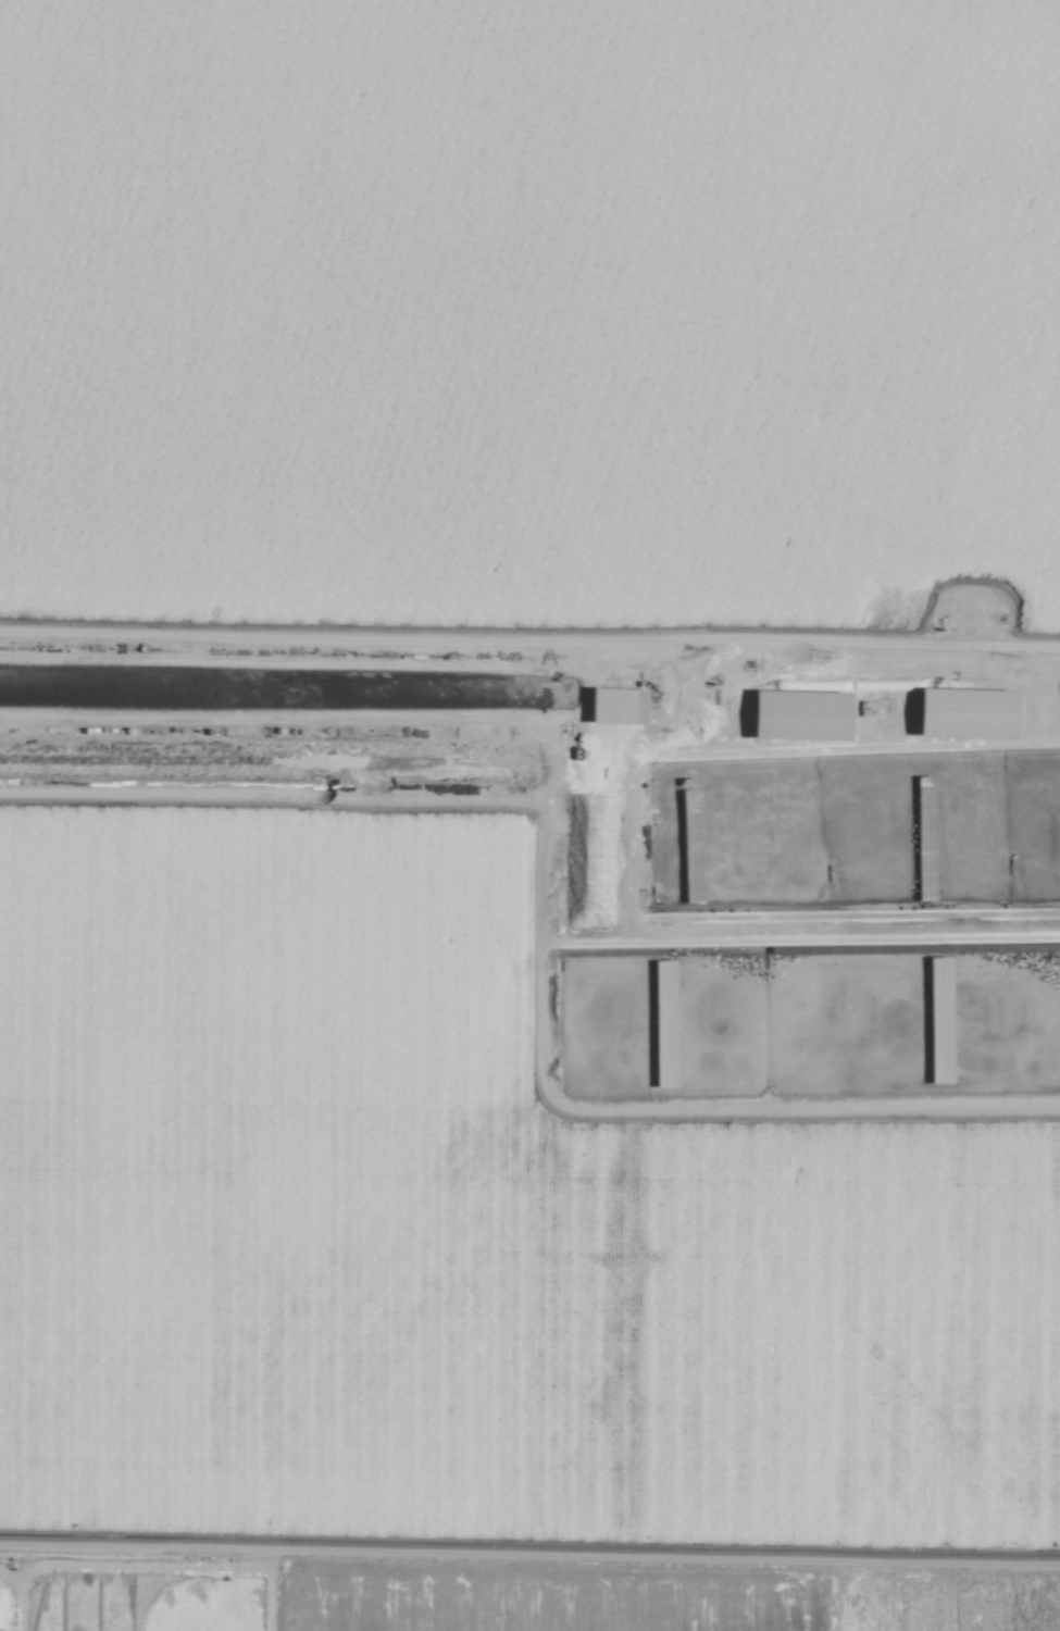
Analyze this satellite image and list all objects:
road: (558, 652)
building: (958, 713)
building: (793, 715)

